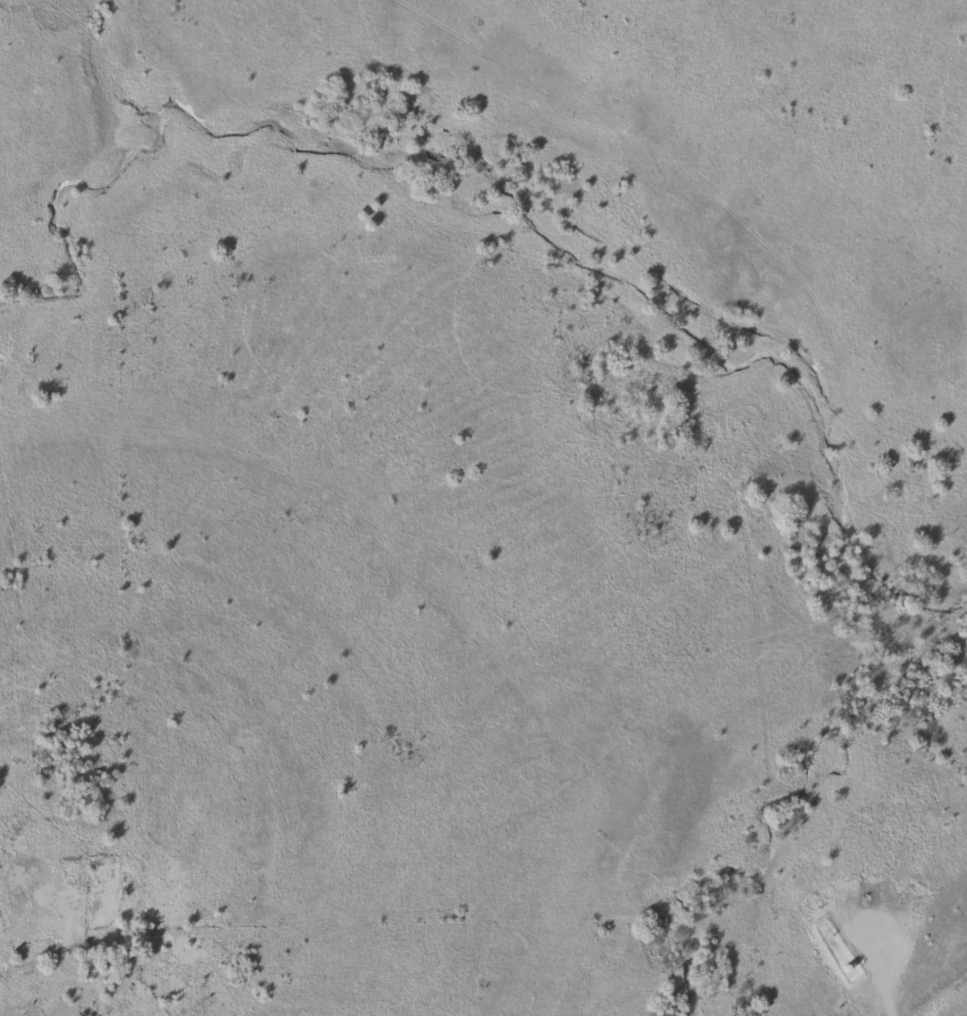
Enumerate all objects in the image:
road: (882, 993)

